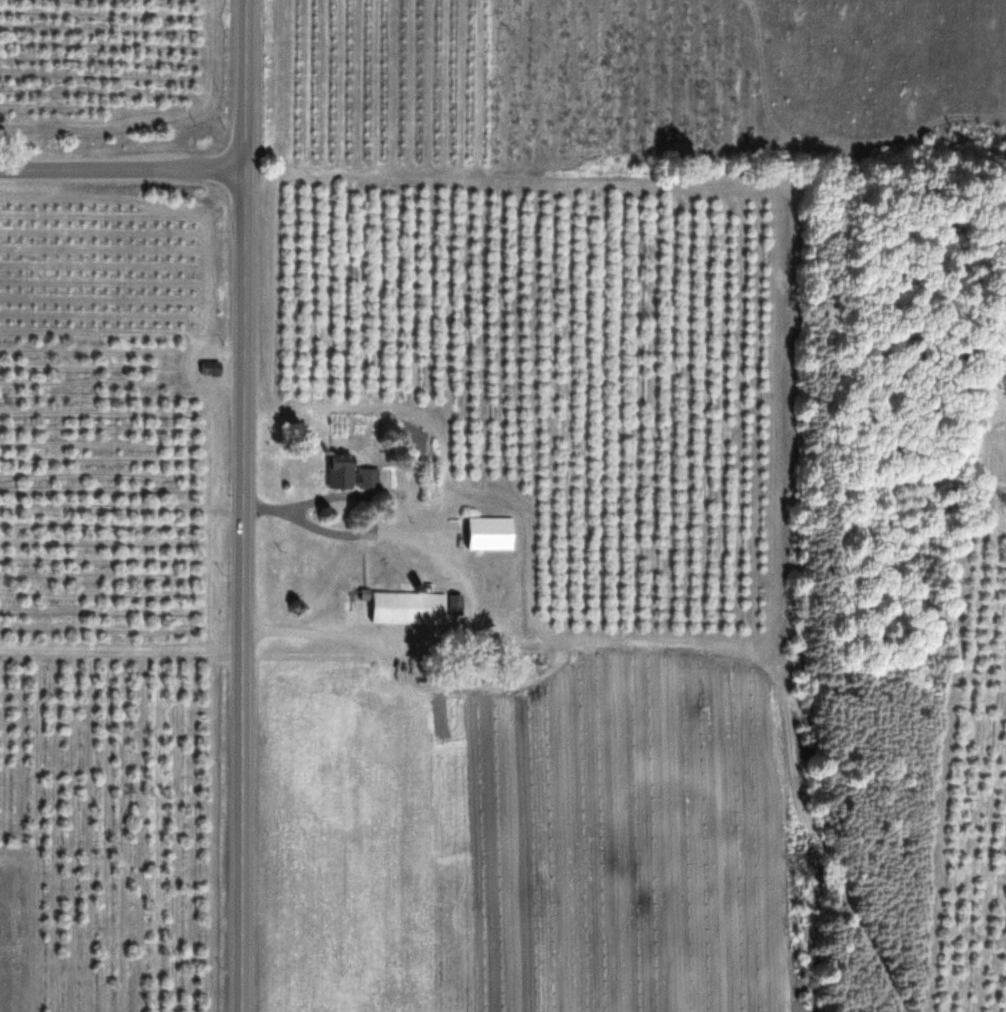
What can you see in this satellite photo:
road: (123, 167)
building: (210, 368)
building: (352, 473)
road: (244, 506)
building: (408, 608)

